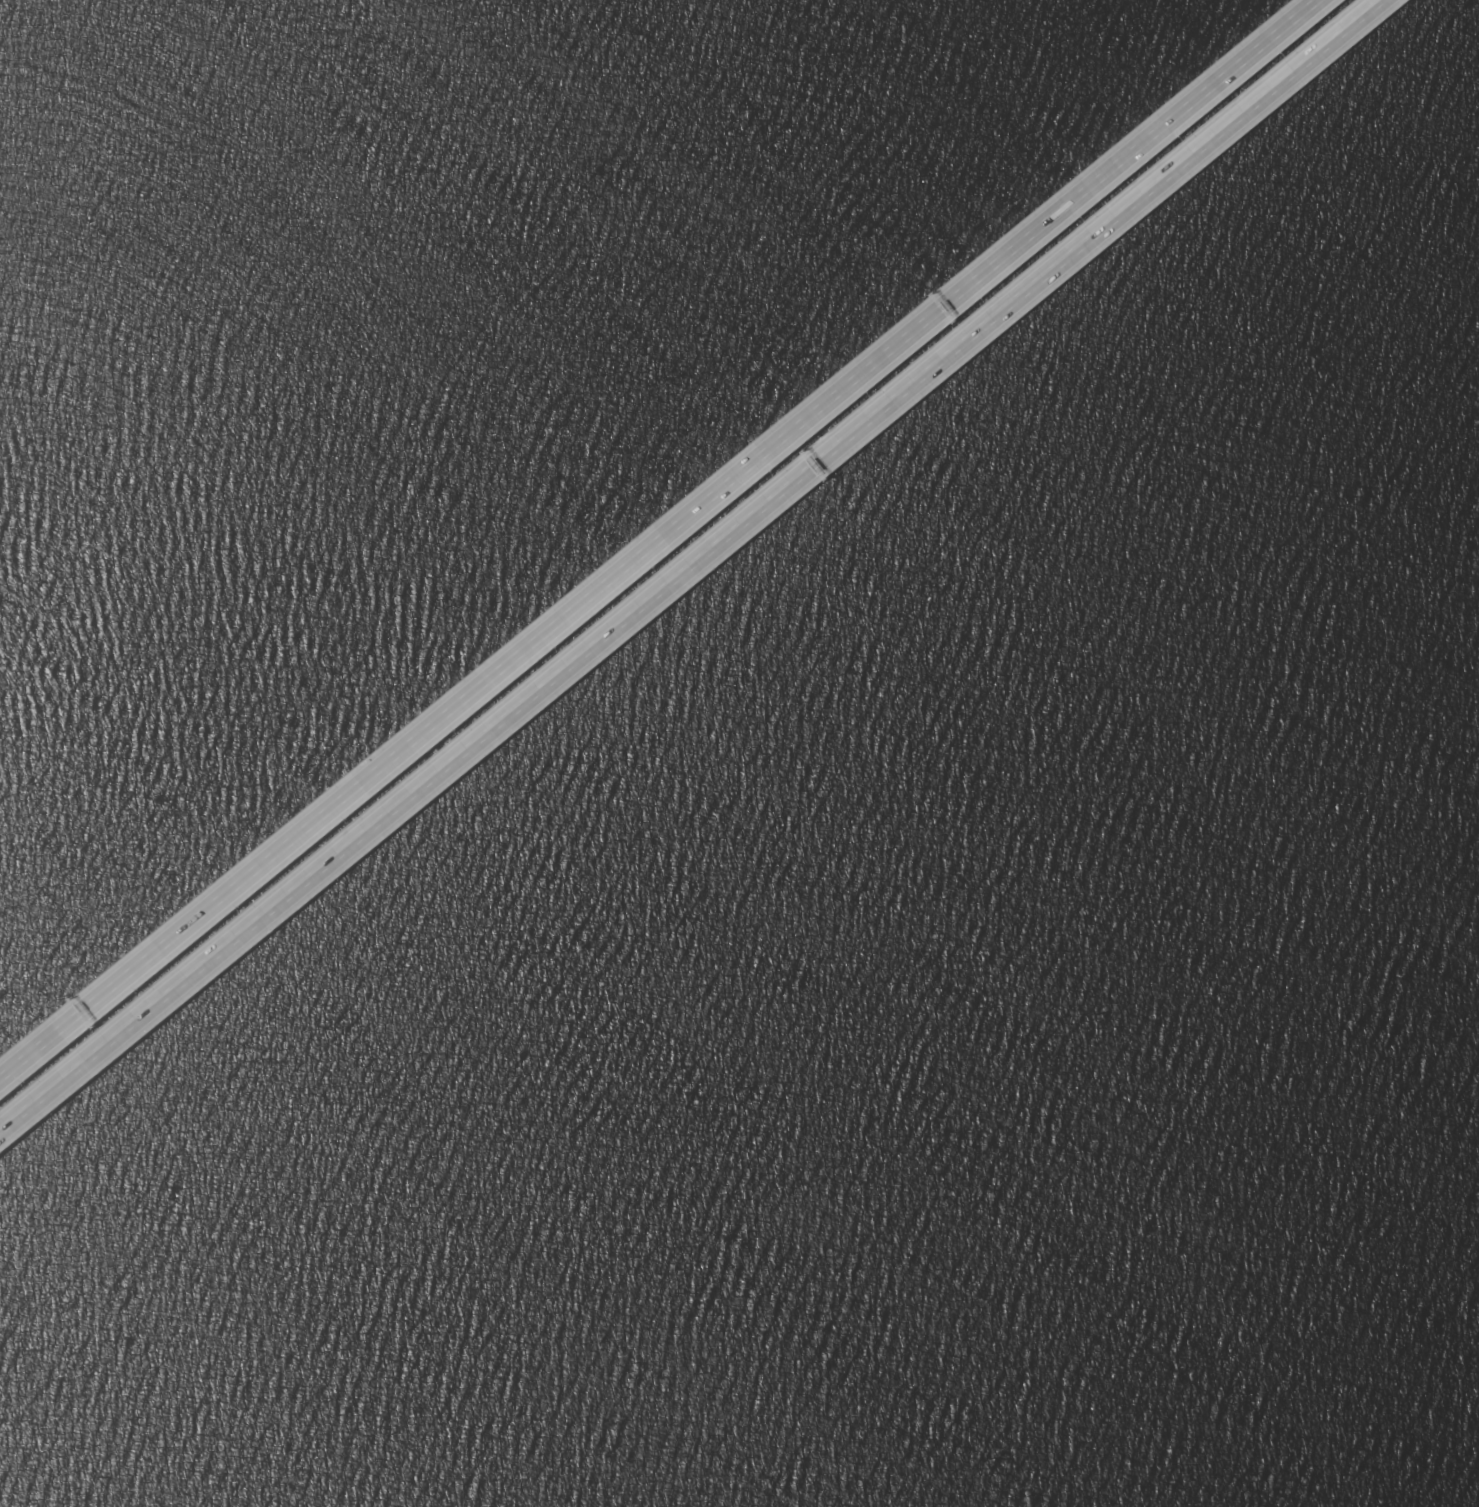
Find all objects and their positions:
road: (664, 537)
road: (694, 562)

